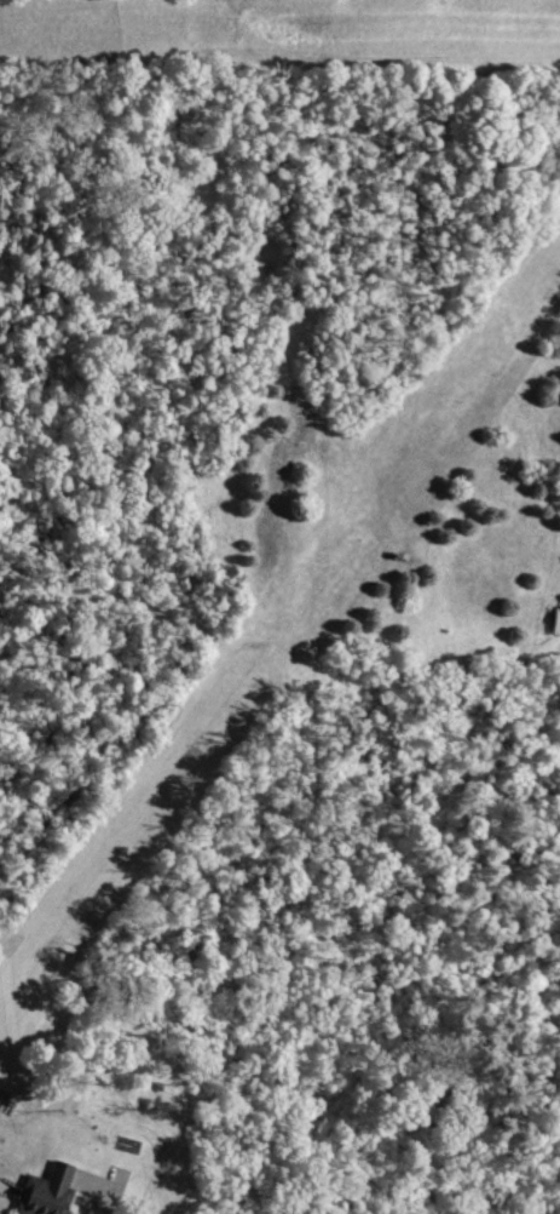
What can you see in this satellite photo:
building: (554, 622)
building: (44, 1191)
road: (104, 1212)

